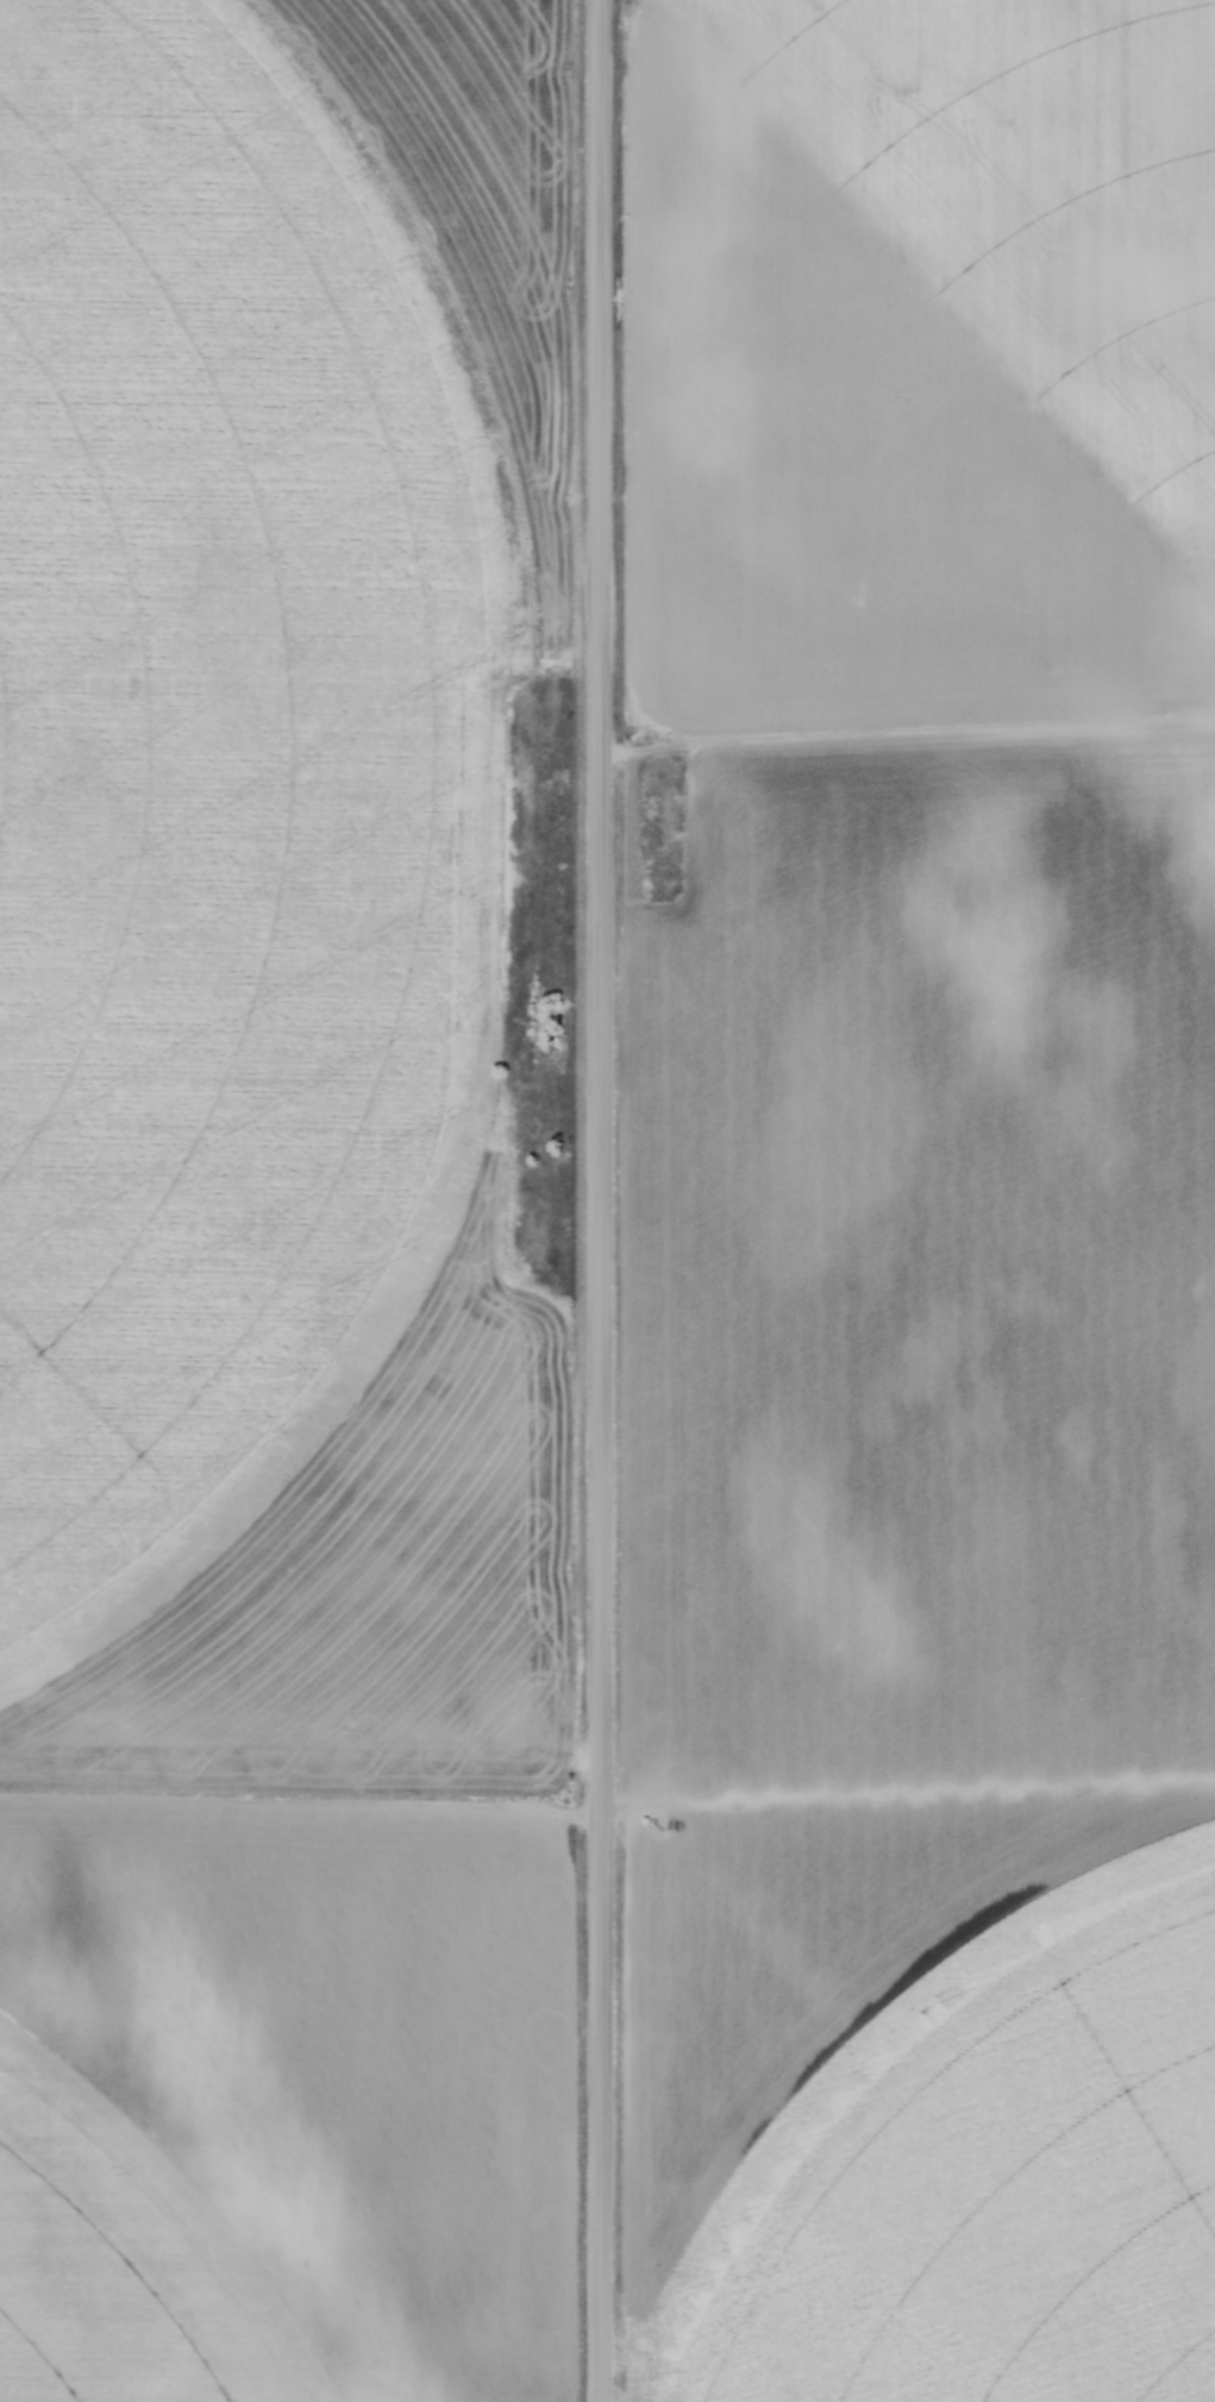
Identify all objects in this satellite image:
road: (596, 1200)
crop: (915, 1204)
crop: (278, 1208)

